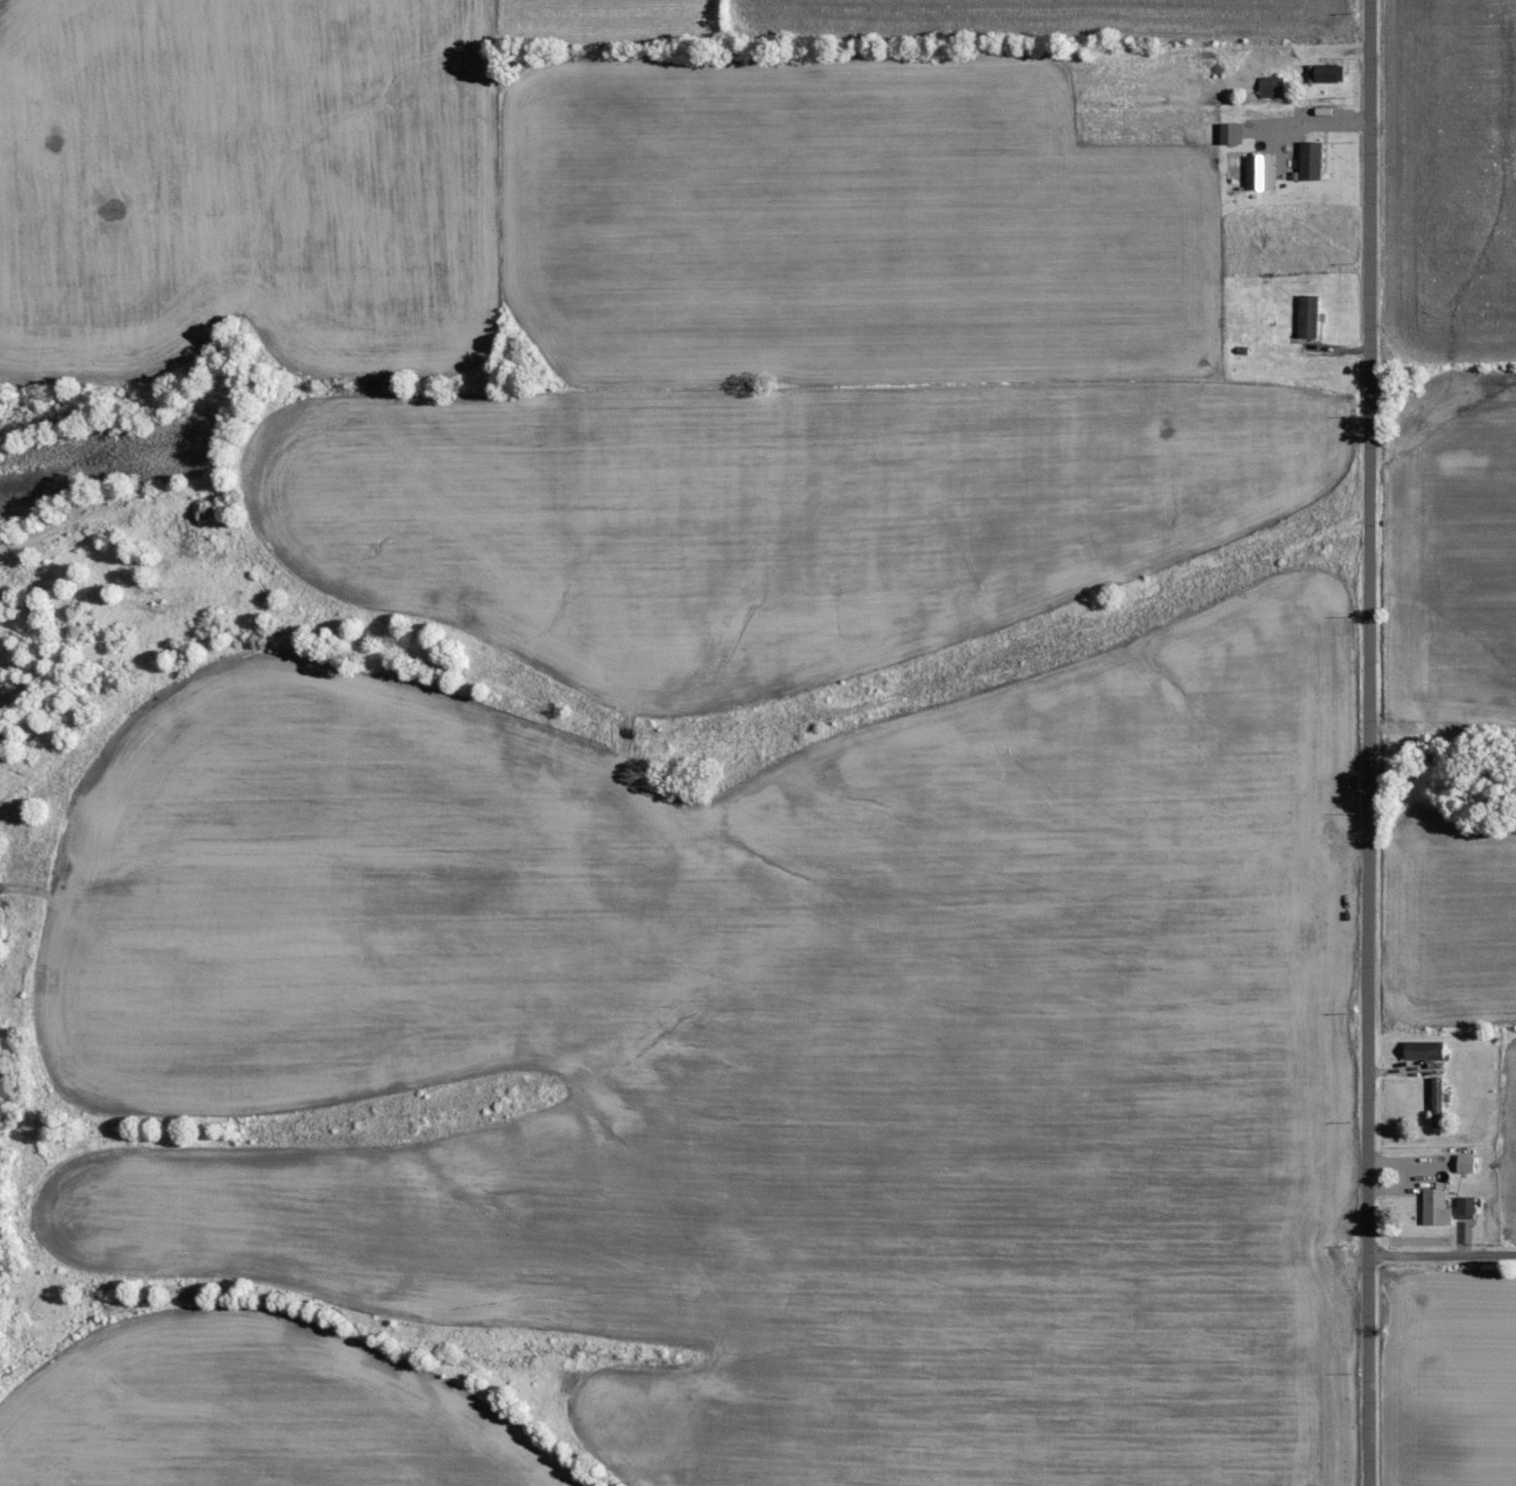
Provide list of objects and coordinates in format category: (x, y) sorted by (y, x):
building: (1327, 74)
building: (1272, 87)
building: (1233, 134)
building: (1312, 160)
building: (1262, 173)
building: (1309, 317)
road: (1370, 743)
building: (1426, 1050)
building: (1467, 1163)
building: (1437, 1207)
building: (1467, 1207)
road: (1443, 1258)

